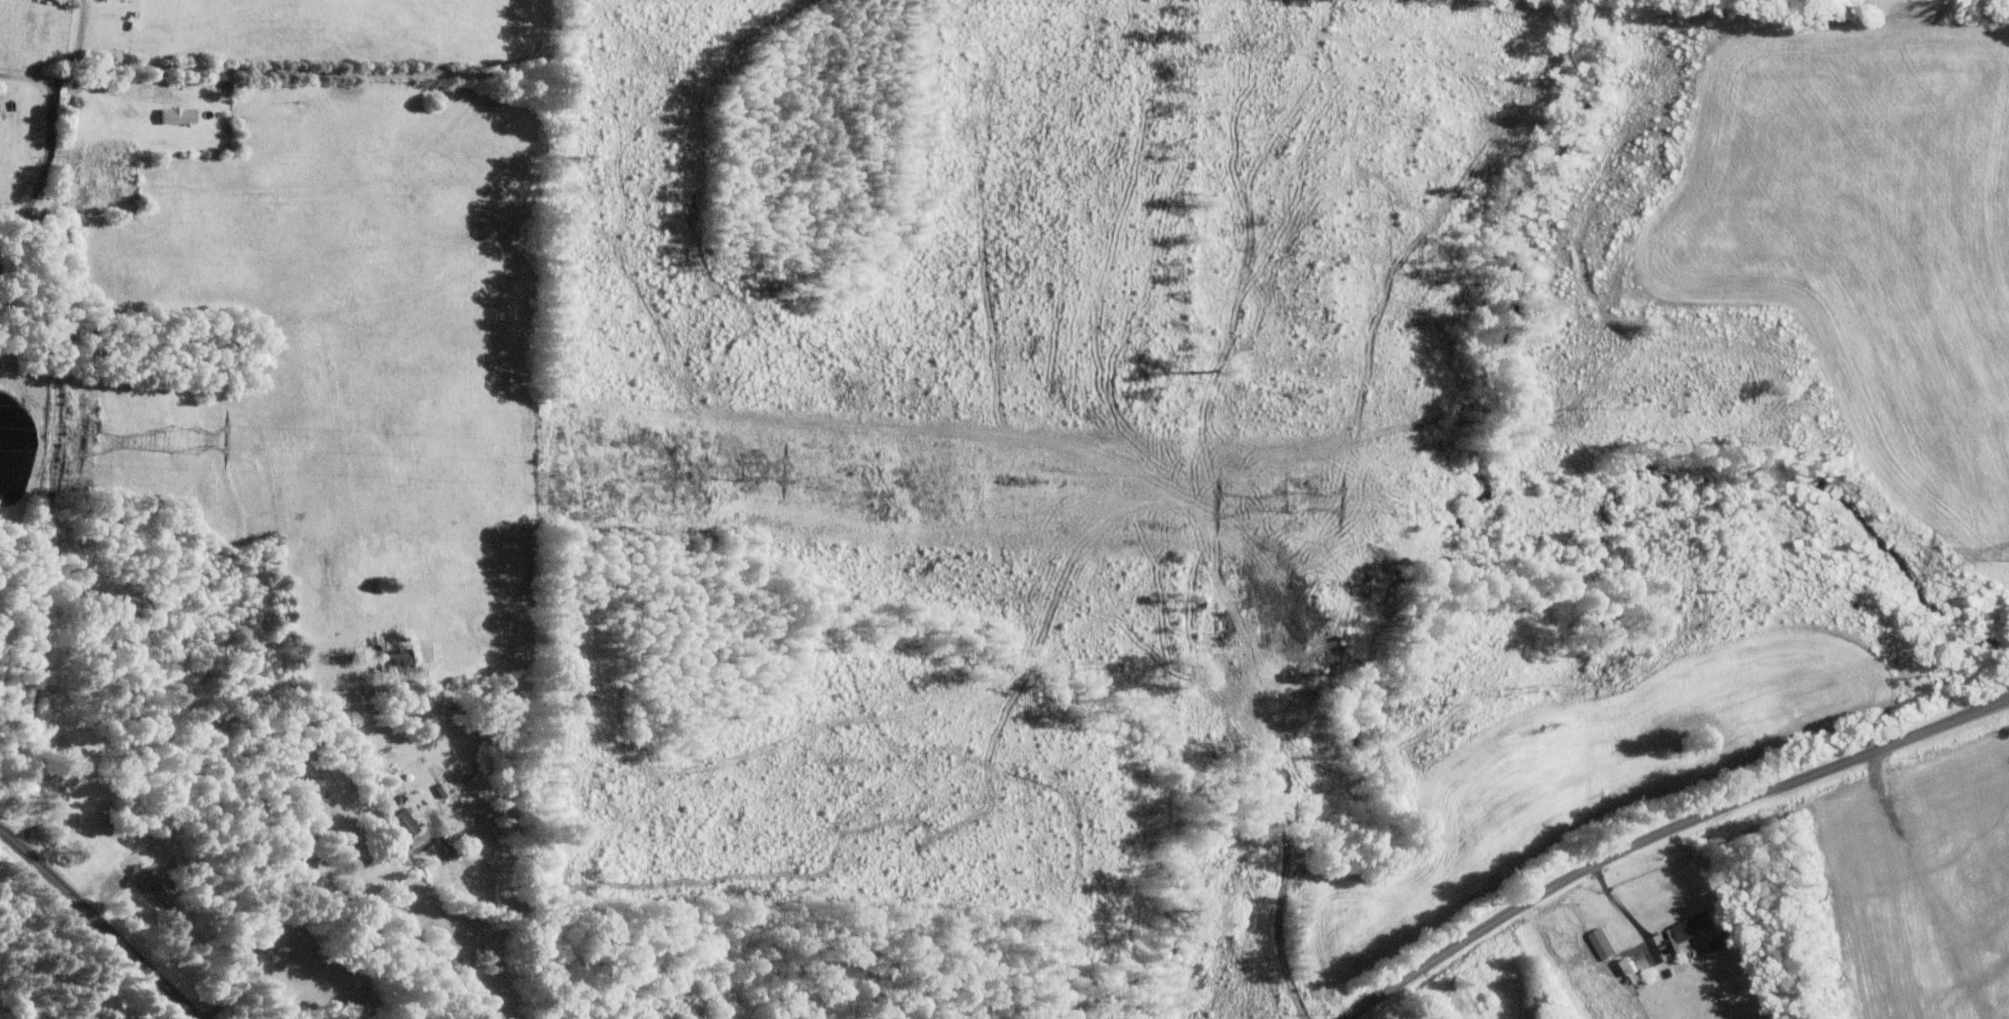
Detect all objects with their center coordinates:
road: (81, 27)
road: (230, 61)
road: (28, 77)
building: (182, 114)
power tower: (191, 442)
road: (57, 443)
power tower: (749, 473)
power tower: (1301, 503)
road: (32, 780)
building: (409, 823)
road: (1665, 834)
building: (454, 853)
building: (159, 883)
road: (284, 899)
road: (1622, 908)
road: (94, 927)
building: (1692, 931)
building: (1604, 943)
building: (1639, 967)

